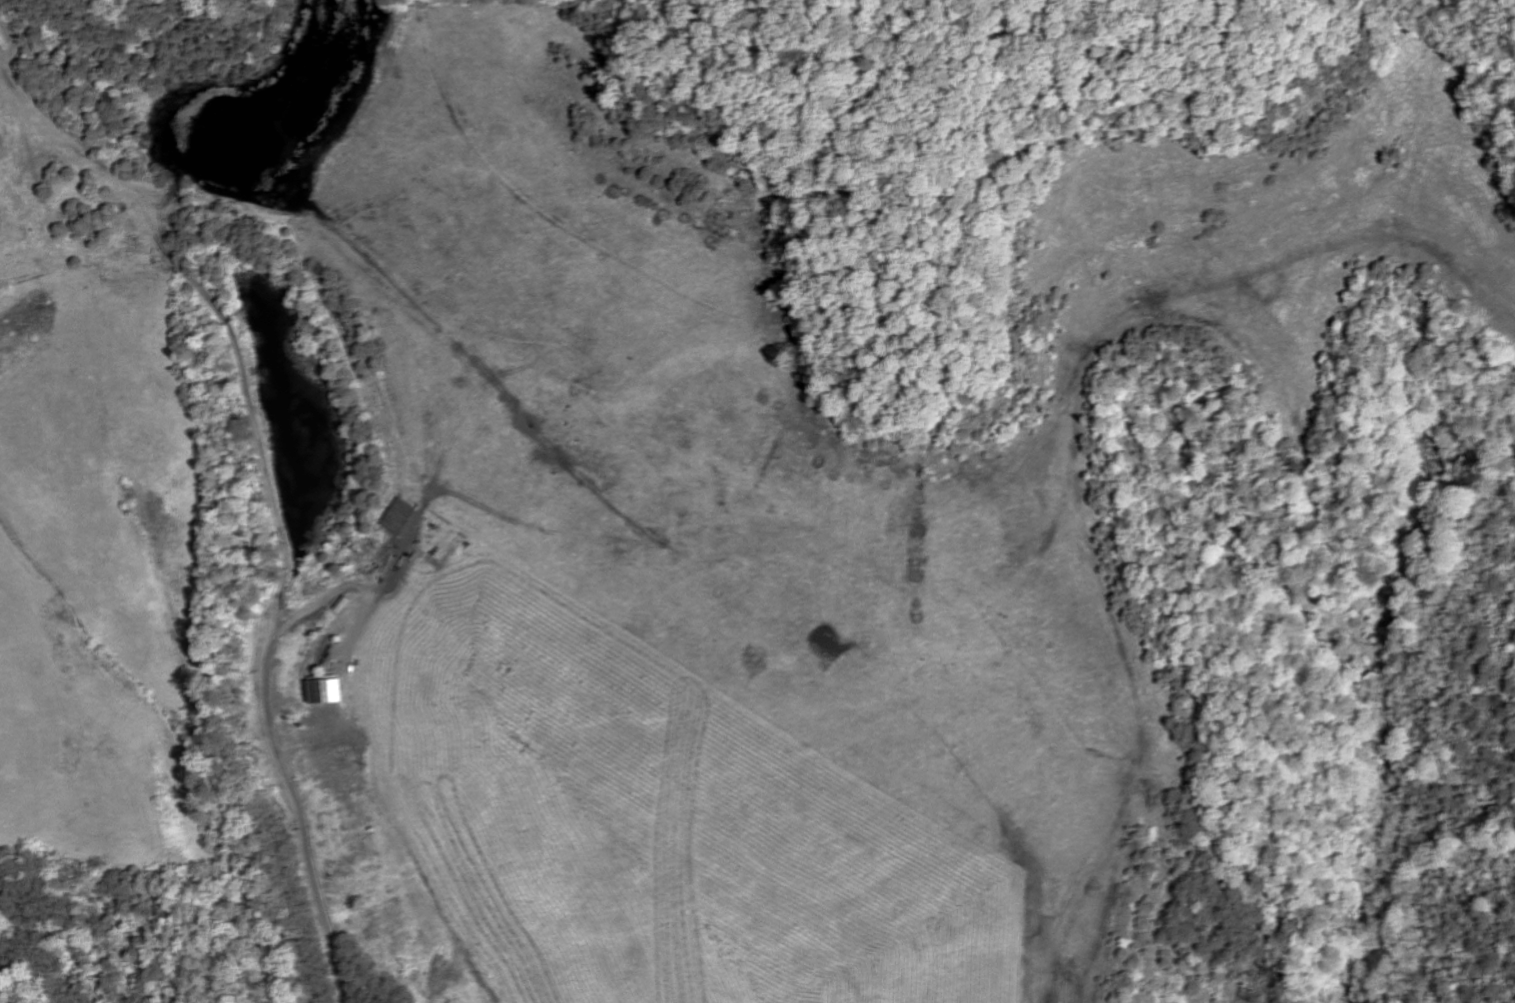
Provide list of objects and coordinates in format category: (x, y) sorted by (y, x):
building: (324, 693)
road: (287, 803)

